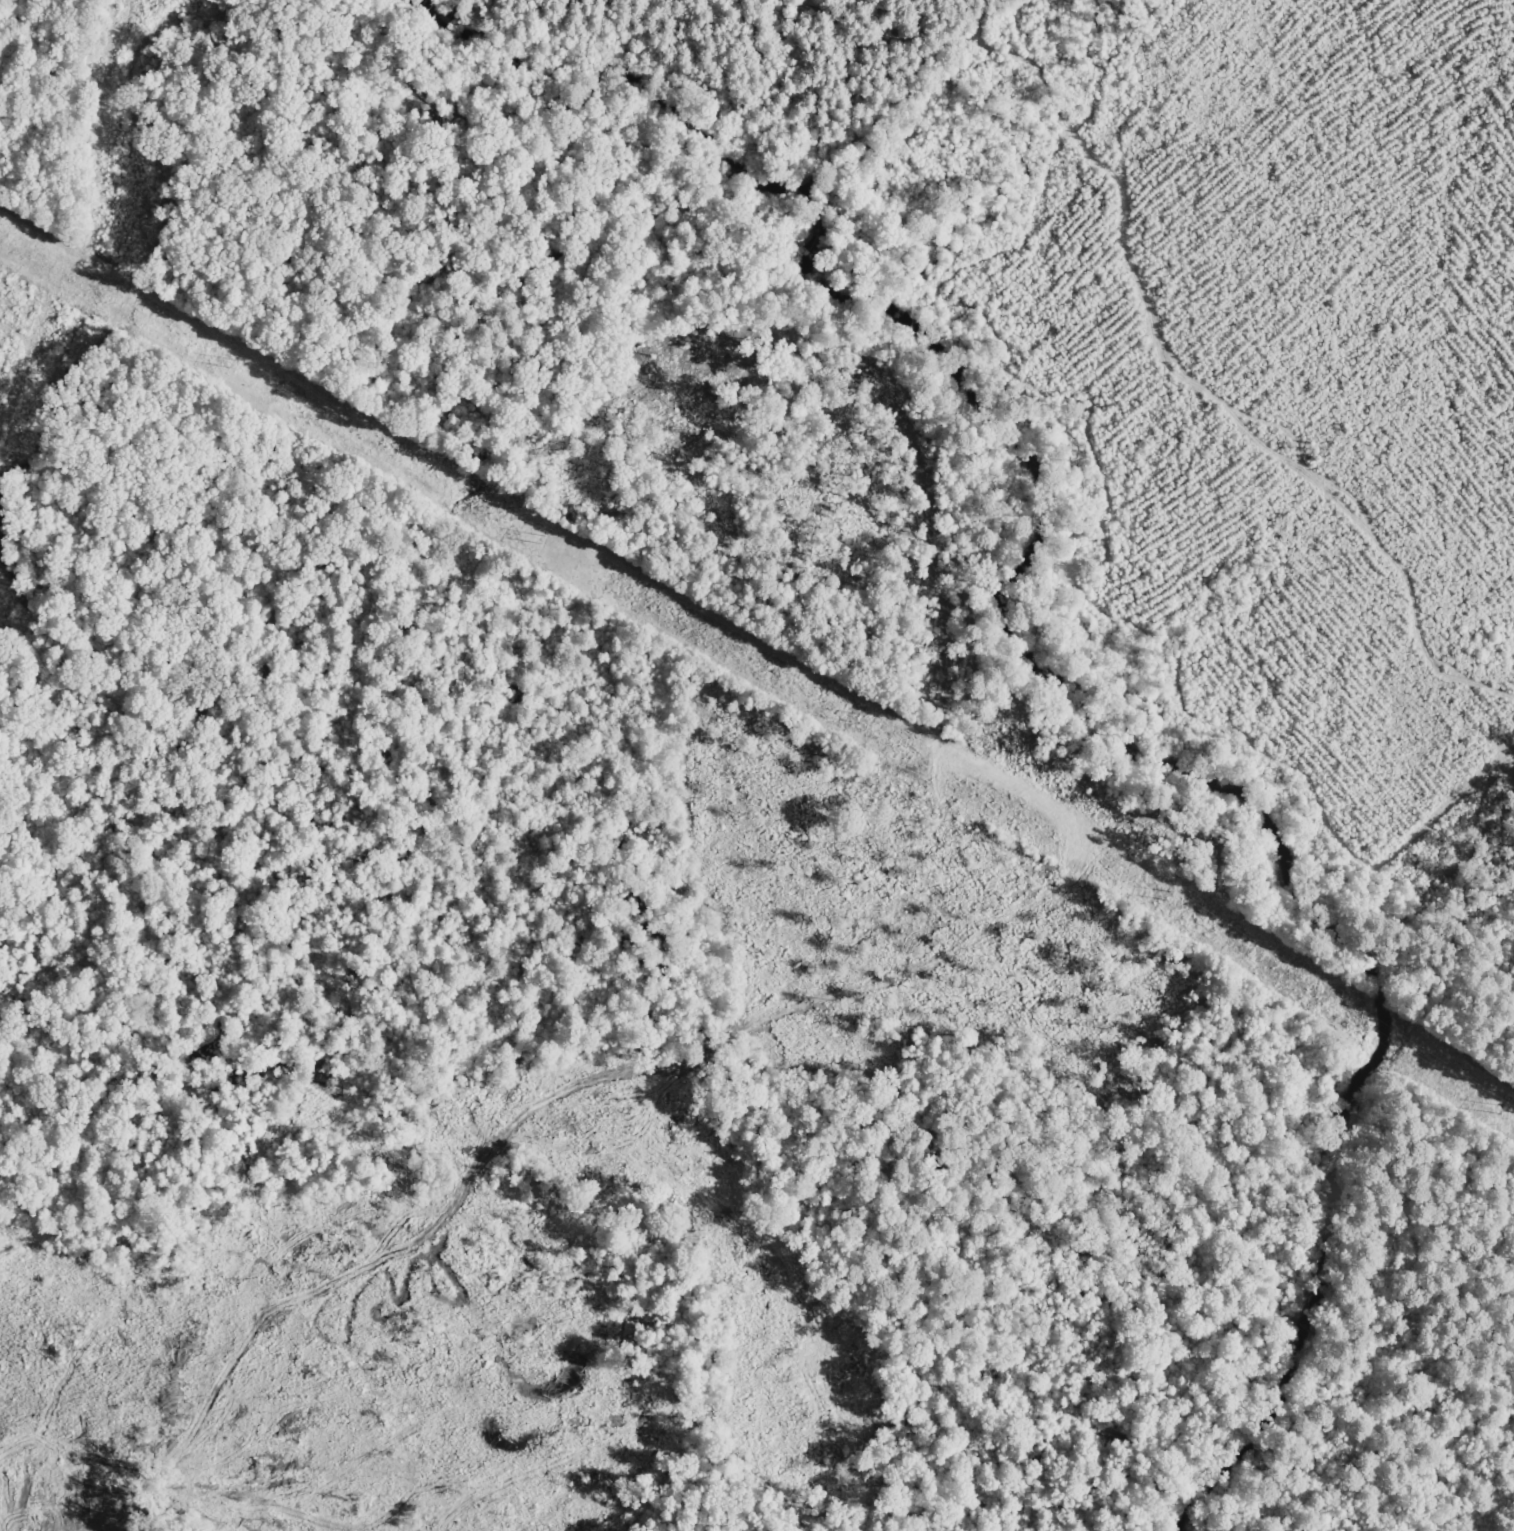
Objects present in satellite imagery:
power tower: (206, 363)
power tower: (506, 540)
power tower: (820, 724)
power tower: (1132, 908)
power tower: (1485, 1116)

